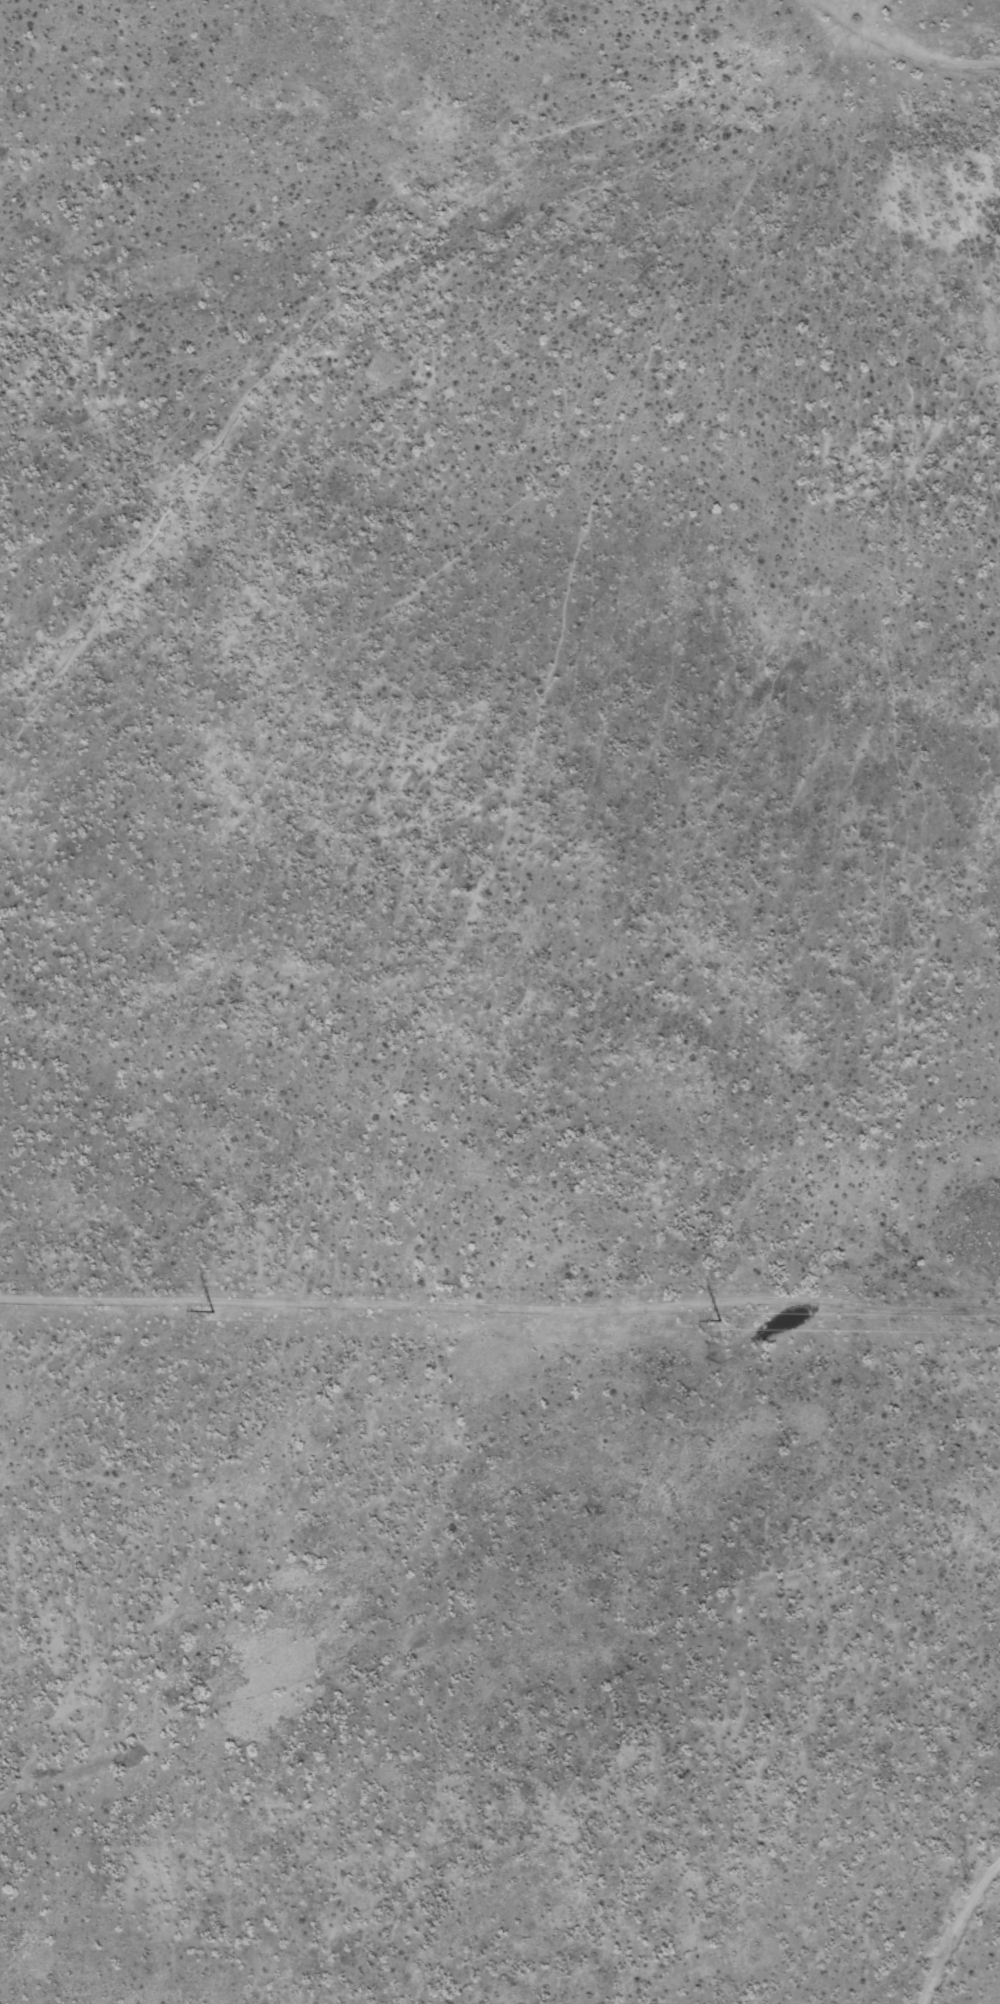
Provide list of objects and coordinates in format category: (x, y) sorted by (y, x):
power tower: (213, 1311)
power tower: (721, 1319)
road: (978, 1967)

